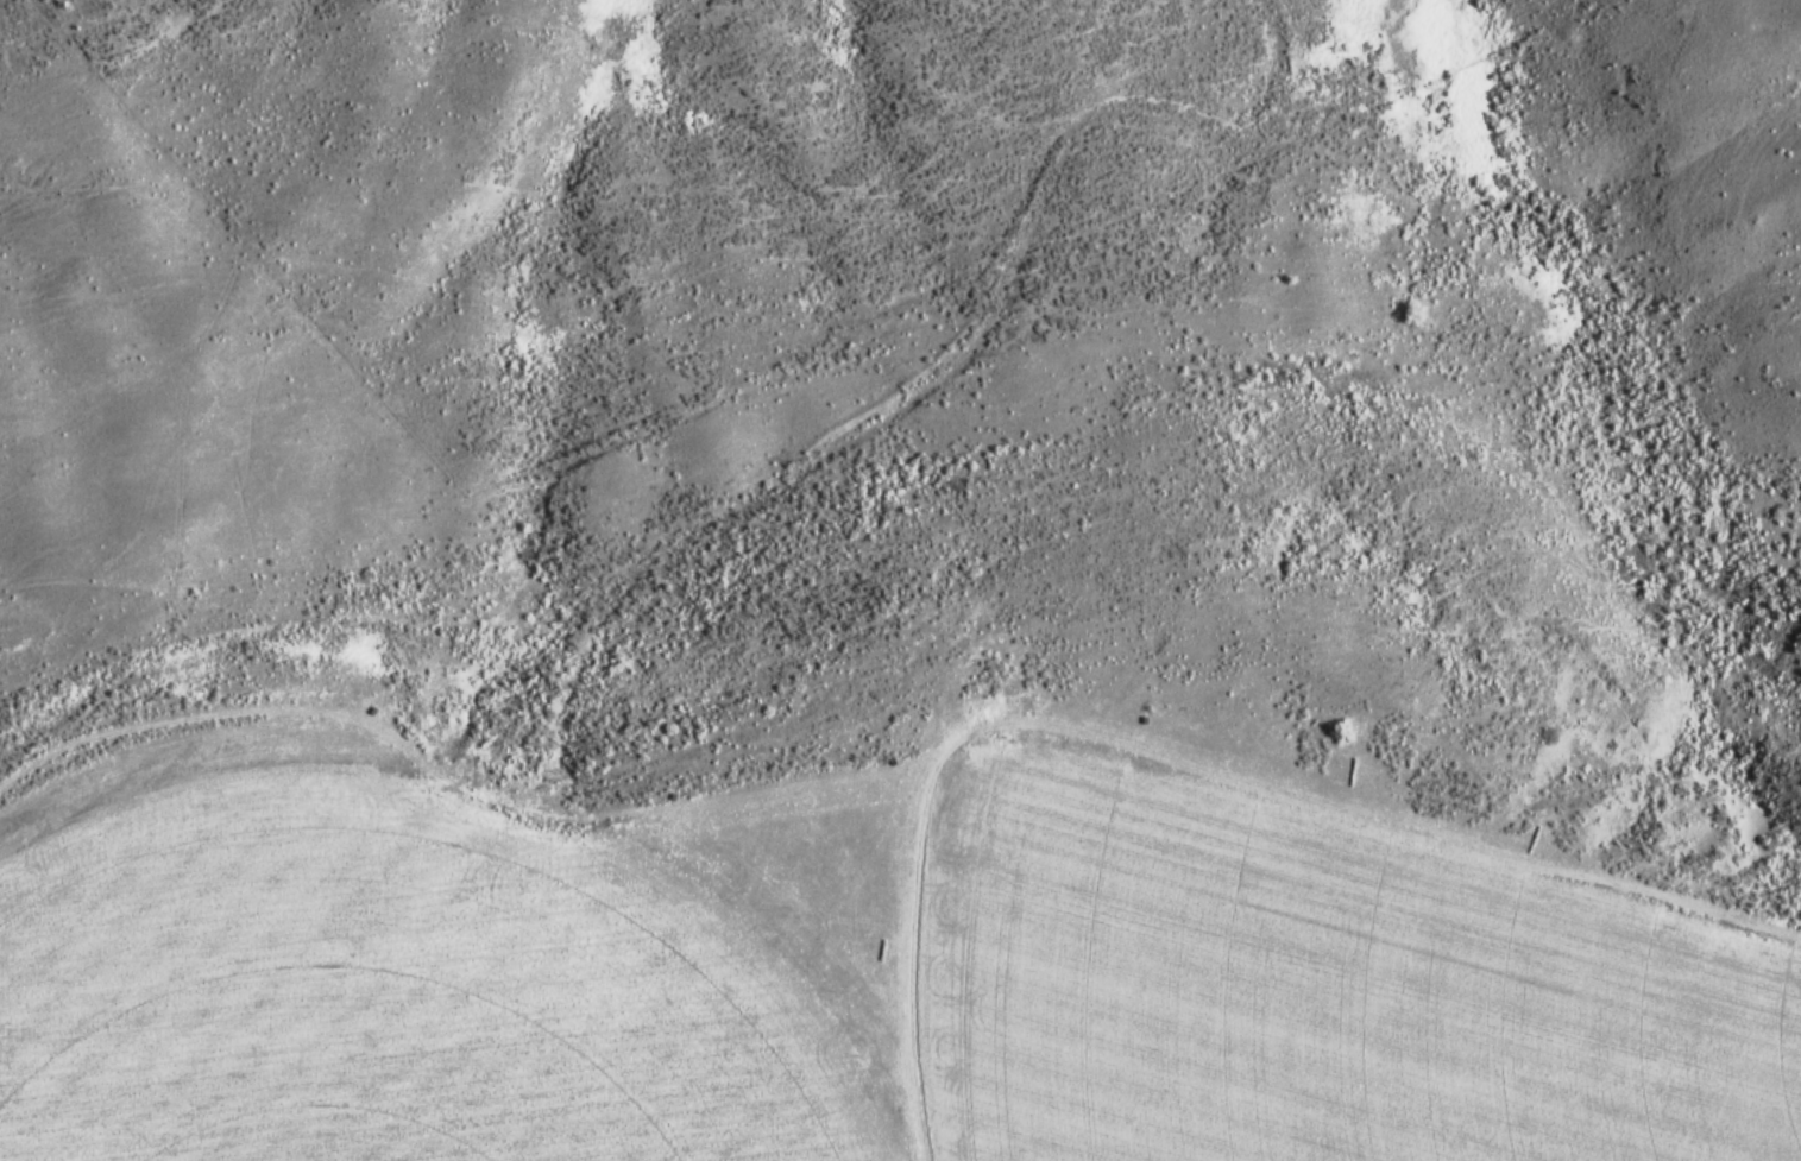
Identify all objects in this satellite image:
crop: (378, 976)
crop: (1330, 1003)

